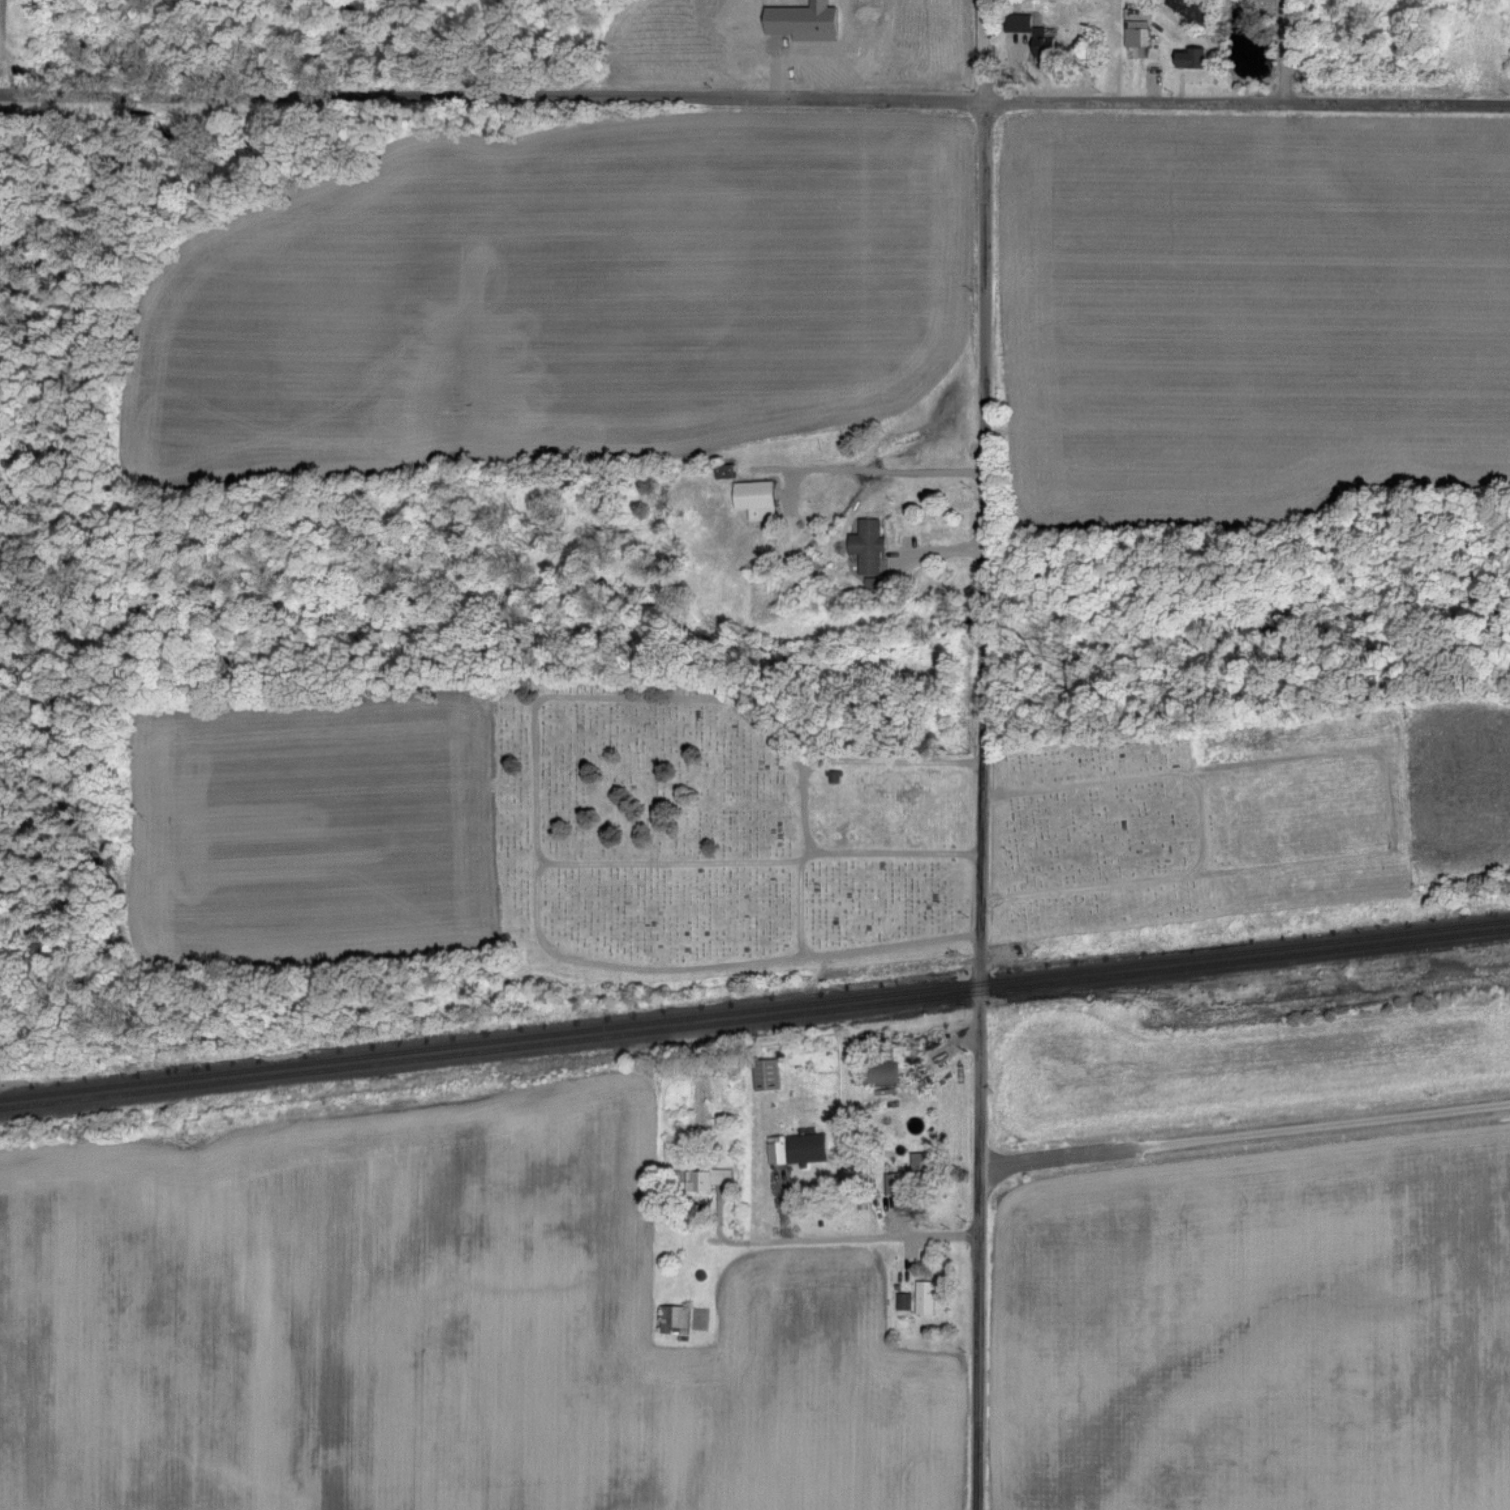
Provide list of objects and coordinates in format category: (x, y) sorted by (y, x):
building: (1136, 35)
building: (1043, 43)
road: (987, 50)
building: (1191, 56)
road: (754, 96)
crop: (1249, 317)
road: (890, 475)
building: (756, 497)
building: (867, 544)
road: (892, 761)
crop: (1461, 785)
road: (981, 804)
road: (1201, 824)
park: (1203, 825)
crop: (309, 829)
park: (711, 839)
road: (538, 851)
road: (760, 860)
road: (800, 906)
railway: (754, 1009)
railway: (754, 1018)
building: (882, 1071)
building: (766, 1073)
road: (1244, 1136)
building: (797, 1147)
building: (919, 1159)
building: (706, 1176)
building: (893, 1181)
road: (838, 1239)
building: (925, 1295)

